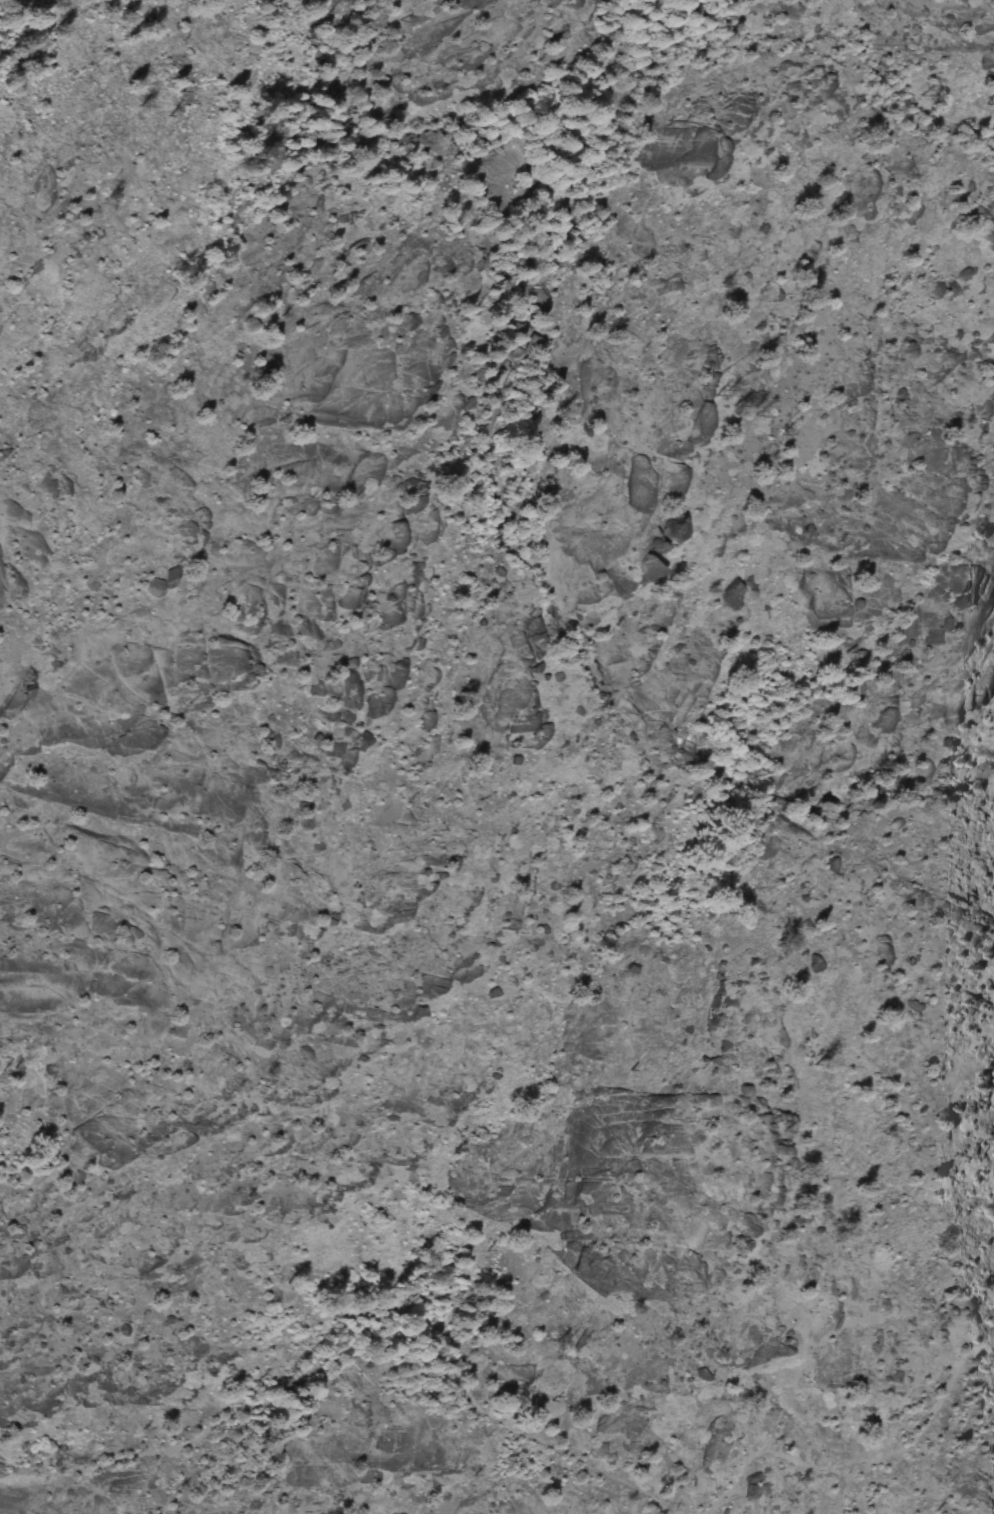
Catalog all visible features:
road: (338, 1396)
road: (864, 1472)

